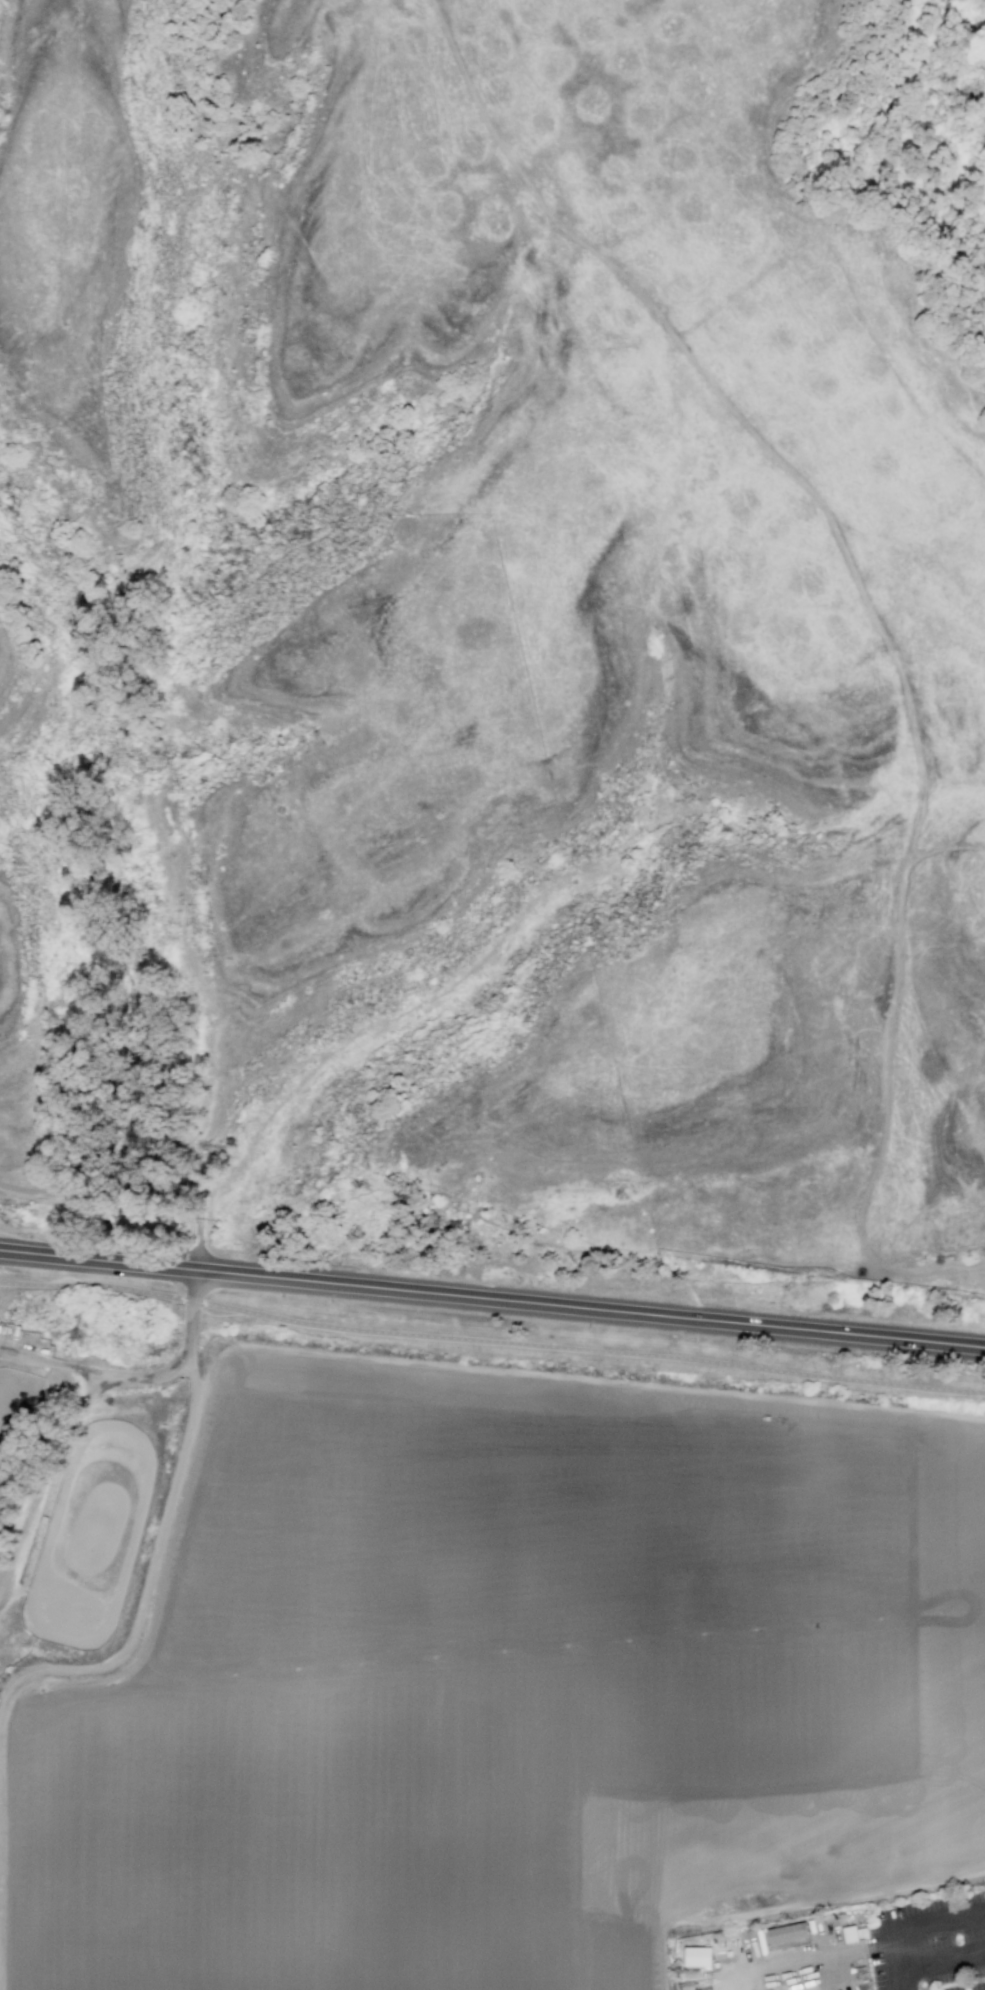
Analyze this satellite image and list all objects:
road: (700, 126)
road: (836, 224)
road: (732, 296)
road: (886, 352)
road: (778, 464)
road: (944, 686)
crop: (275, 829)
road: (939, 847)
road: (928, 1007)
road: (634, 1125)
road: (881, 1165)
road: (45, 1193)
road: (118, 1200)
road: (201, 1213)
road: (41, 1256)
road: (131, 1266)
road: (953, 1269)
road: (689, 1289)
road: (582, 1310)
road: (491, 1342)
road: (96, 1375)
road: (578, 1382)
road: (161, 1539)
crop: (463, 1668)
road: (795, 1903)
road: (905, 1930)
building: (849, 1933)
building: (788, 1934)
parking lot: (930, 1944)
building: (696, 1956)
road: (935, 1964)

